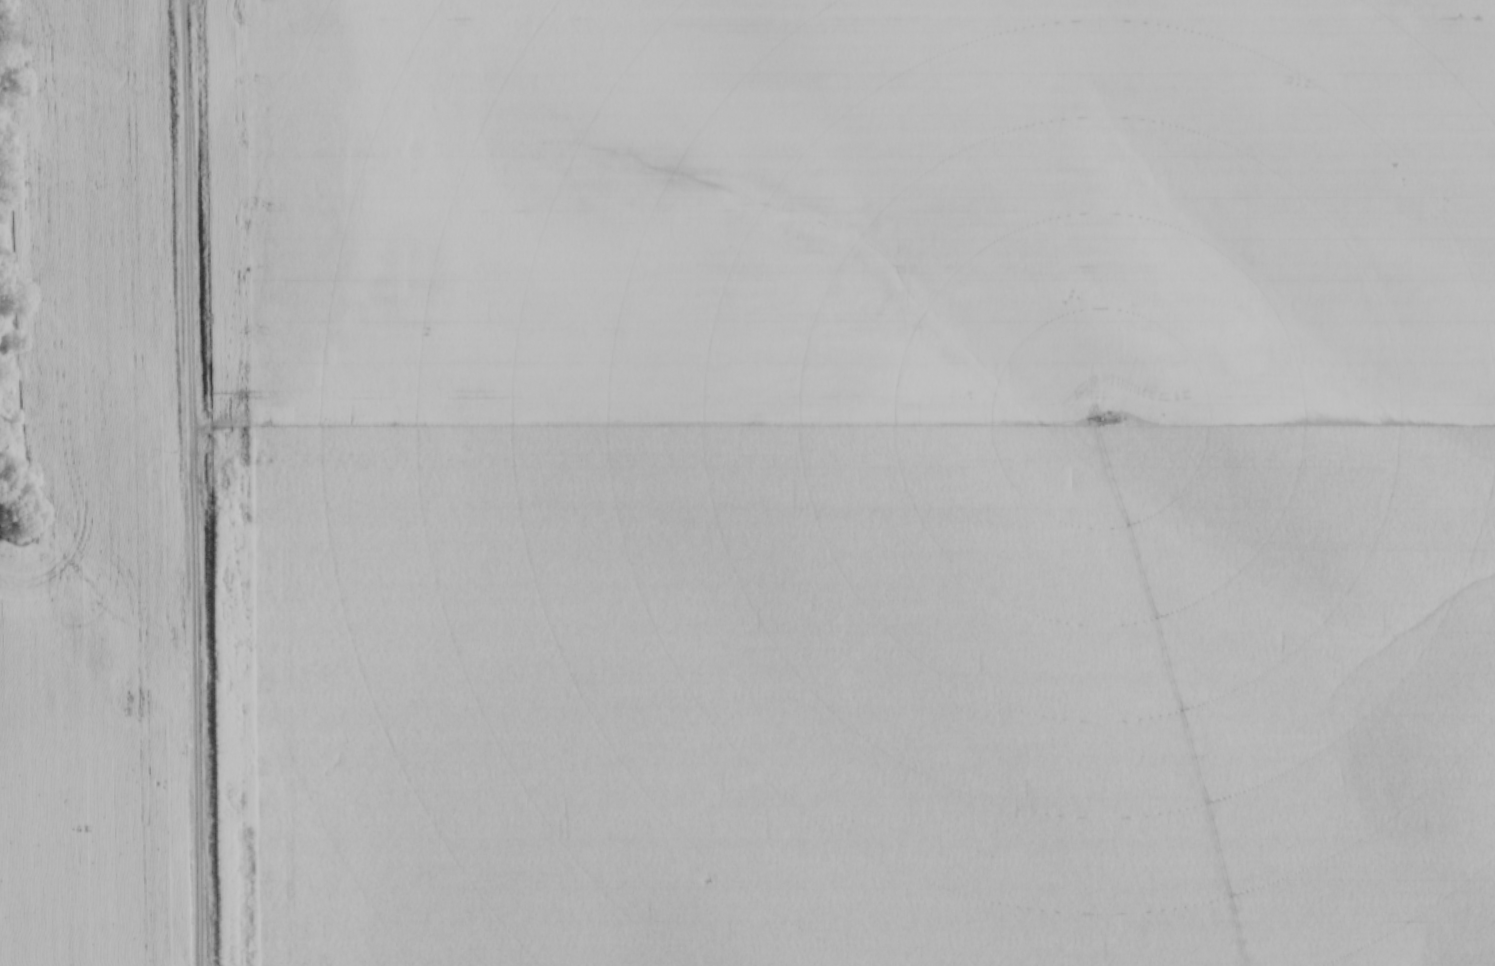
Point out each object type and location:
road: (189, 482)

